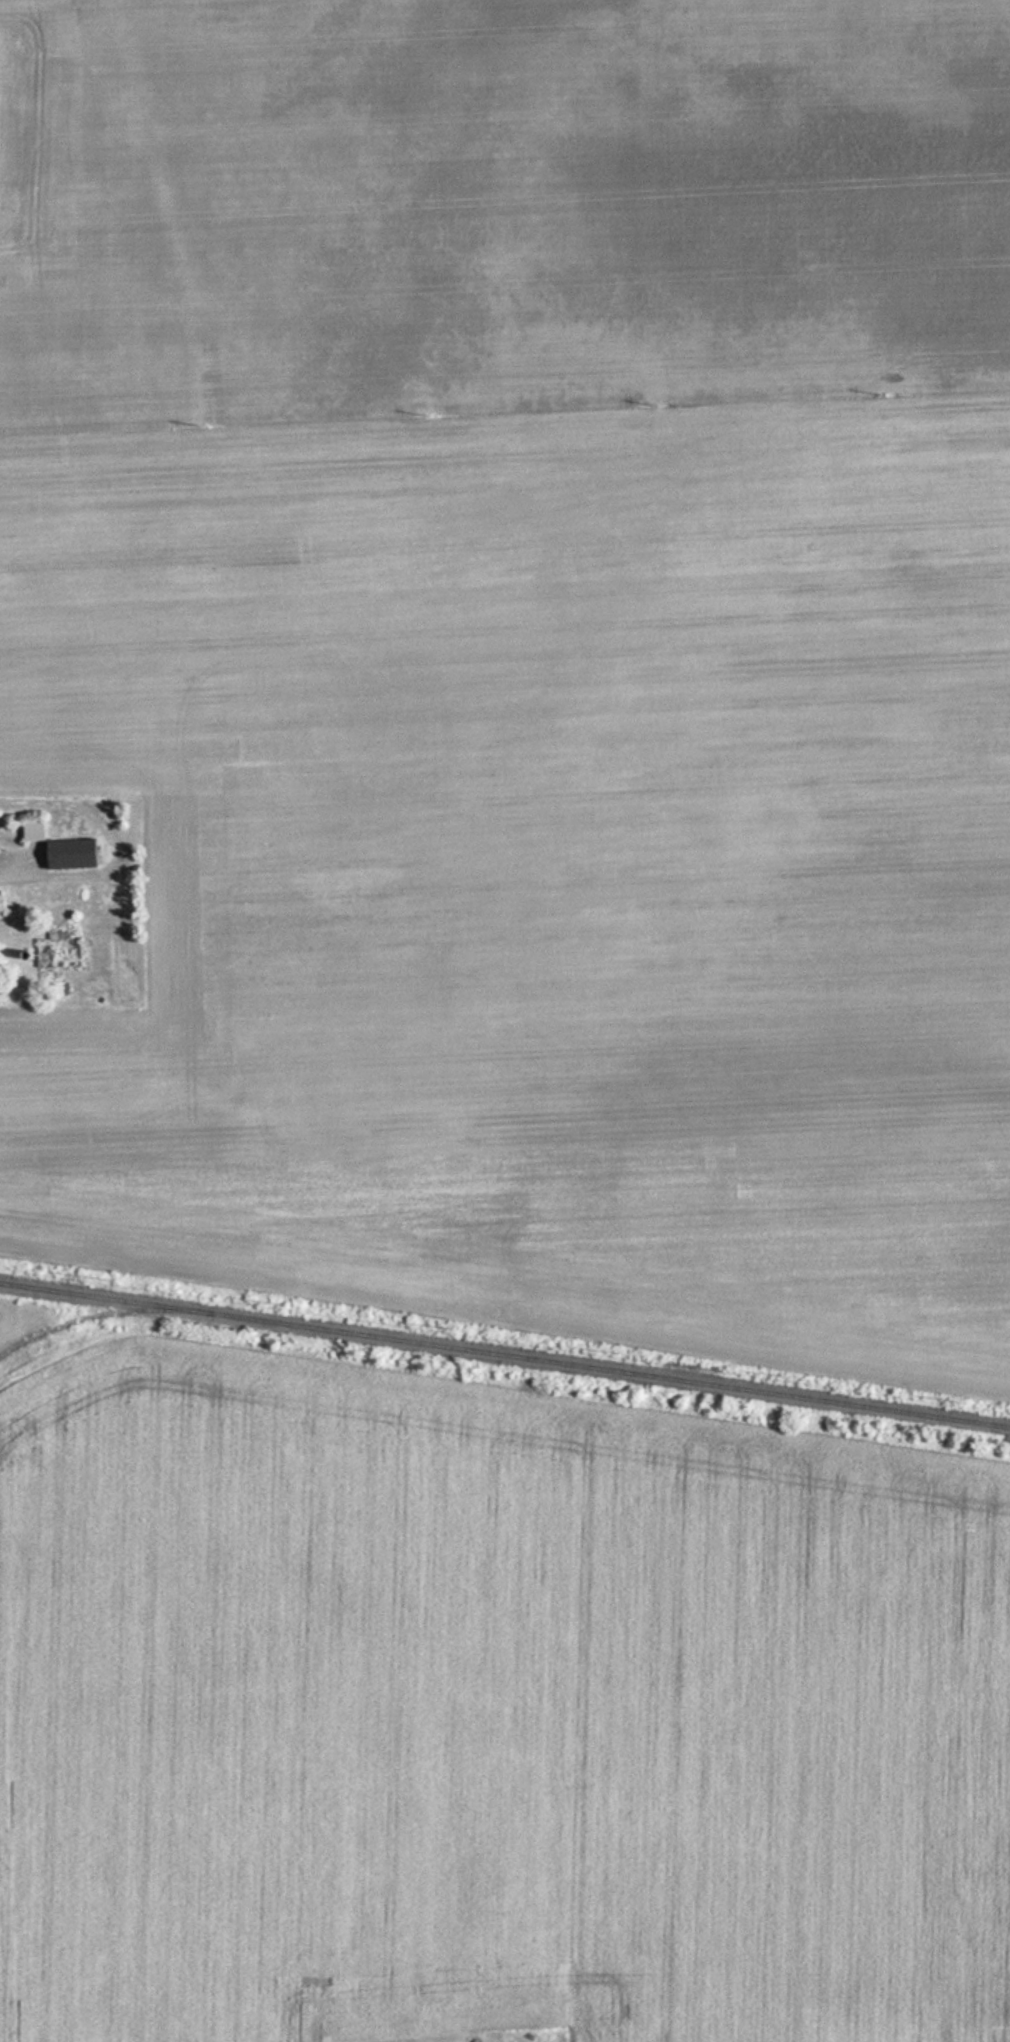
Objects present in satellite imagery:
building: (67, 854)
railway: (505, 1357)

